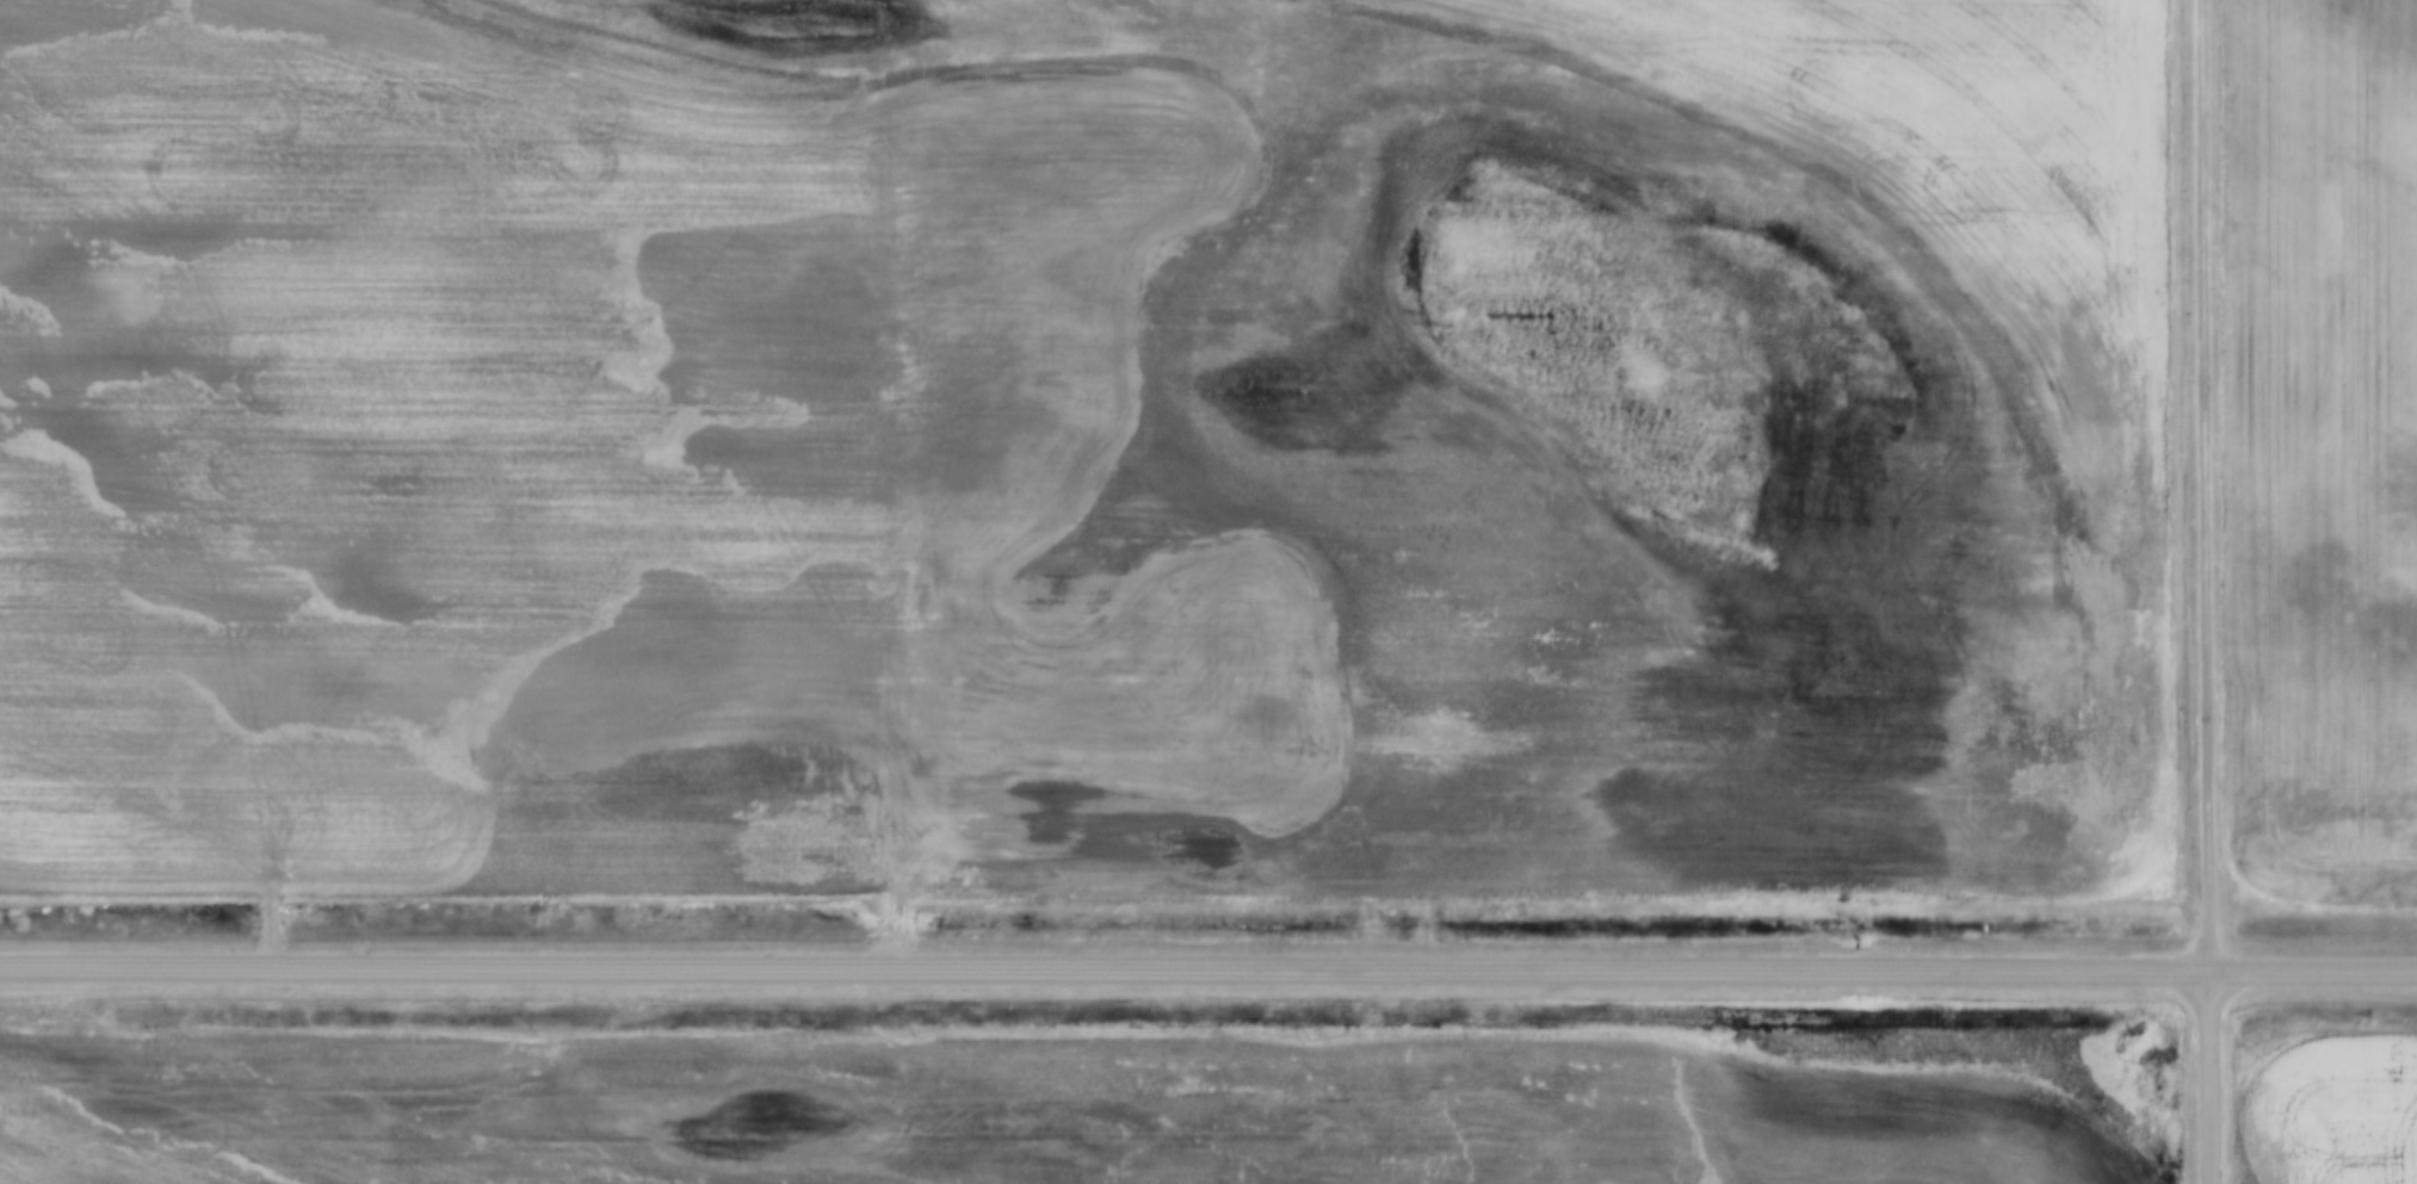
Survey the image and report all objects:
crop: (1083, 444)
road: (2203, 486)
road: (1208, 968)
road: (2207, 1078)

